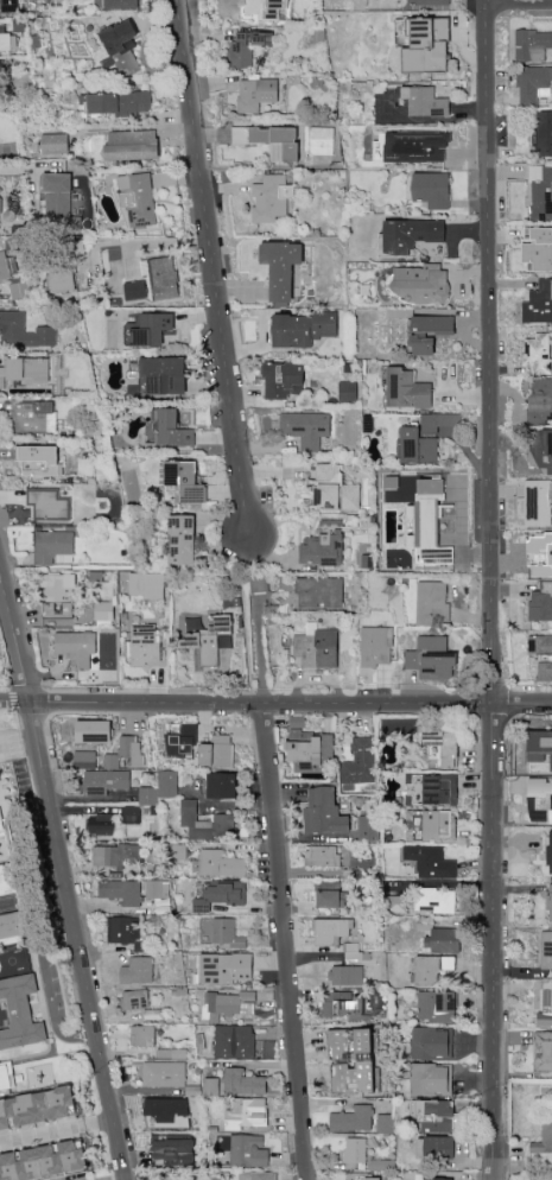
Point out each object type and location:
road: (519, 1)
building: (427, 2)
building: (262, 8)
building: (7, 40)
building: (532, 45)
building: (116, 47)
building: (243, 49)
building: (424, 49)
building: (533, 84)
building: (255, 93)
building: (118, 102)
building: (424, 102)
building: (544, 133)
building: (321, 140)
building: (269, 141)
building: (53, 144)
building: (131, 145)
building: (414, 146)
building: (431, 189)
building: (540, 192)
building: (269, 197)
building: (137, 199)
building: (58, 203)
building: (6, 217)
building: (410, 235)
road: (144, 242)
building: (538, 248)
building: (7, 266)
building: (280, 267)
road: (215, 268)
building: (160, 277)
building: (61, 280)
building: (420, 283)
building: (20, 290)
building: (134, 290)
building: (538, 303)
building: (148, 329)
building: (303, 329)
building: (23, 331)
building: (427, 332)
building: (537, 354)
building: (24, 370)
building: (161, 375)
building: (283, 380)
building: (406, 389)
building: (347, 391)
building: (540, 399)
building: (31, 415)
building: (170, 429)
building: (305, 429)
building: (426, 437)
building: (540, 449)
building: (38, 459)
building: (180, 482)
building: (332, 489)
building: (538, 502)
building: (47, 505)
building: (180, 539)
building: (323, 546)
building: (52, 547)
building: (540, 552)
building: (363, 554)
building: (146, 584)
road: (491, 590)
building: (318, 592)
building: (57, 596)
building: (540, 602)
building: (431, 603)
building: (103, 610)
building: (144, 645)
building: (374, 646)
building: (540, 646)
building: (75, 647)
building: (316, 647)
road: (259, 651)
building: (432, 658)
building: (544, 670)
road: (275, 703)
building: (93, 731)
building: (180, 740)
building: (443, 747)
building: (539, 747)
building: (216, 751)
building: (125, 753)
building: (83, 759)
building: (360, 762)
building: (104, 781)
building: (167, 784)
building: (221, 785)
building: (432, 788)
building: (147, 795)
building: (539, 800)
building: (323, 812)
building: (131, 814)
building: (550, 817)
building: (204, 823)
building: (100, 825)
building: (438, 825)
building: (4, 826)
building: (368, 827)
building: (178, 851)
building: (550, 851)
building: (115, 855)
building: (322, 856)
building: (429, 861)
building: (220, 863)
road: (65, 877)
building: (9, 881)
building: (322, 886)
building: (157, 889)
building: (121, 890)
building: (218, 896)
building: (326, 900)
building: (433, 900)
building: (548, 901)
building: (395, 903)
building: (330, 930)
building: (227, 933)
building: (442, 939)
road: (286, 940)
building: (546, 950)
building: (353, 951)
building: (224, 968)
building: (432, 968)
building: (137, 970)
building: (347, 975)
road: (49, 991)
building: (139, 1003)
building: (342, 1003)
building: (226, 1004)
building: (436, 1005)
building: (545, 1005)
building: (20, 1013)
building: (141, 1035)
building: (234, 1041)
building: (431, 1043)
building: (543, 1051)
building: (364, 1061)
building: (163, 1074)
building: (6, 1076)
building: (431, 1079)
building: (242, 1081)
building: (210, 1086)
building: (36, 1108)
building: (166, 1114)
building: (245, 1114)
building: (433, 1116)
building: (351, 1118)
building: (383, 1123)
road: (56, 1129)
building: (544, 1138)
building: (434, 1147)
building: (355, 1150)
building: (172, 1152)
building: (248, 1152)
building: (43, 1161)
building: (255, 1175)
building: (357, 1176)
building: (172, 1178)
building: (438, 1179)

